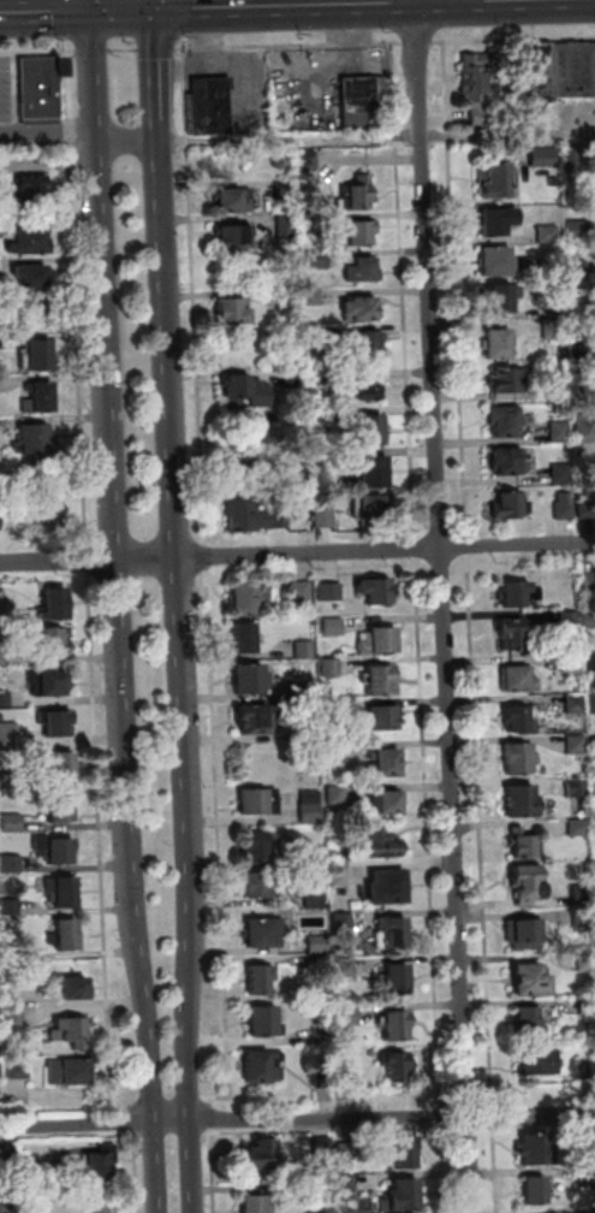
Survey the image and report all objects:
road: (463, 0)
road: (484, 0)
road: (440, 1)
road: (287, 2)
road: (156, 4)
road: (212, 4)
road: (94, 5)
road: (286, 5)
road: (31, 6)
traffic signals: (200, 7)
road: (125, 10)
road: (47, 12)
traffic signals: (55, 12)
road: (188, 17)
road: (66, 18)
road: (516, 40)
road: (421, 42)
road: (400, 43)
road: (159, 47)
road: (126, 48)
road: (95, 49)
road: (38, 51)
traffic signals: (159, 59)
road: (159, 61)
building: (575, 70)
building: (539, 72)
road: (94, 76)
building: (478, 82)
building: (42, 88)
parking lot: (6, 90)
building: (368, 102)
building: (212, 105)
road: (160, 128)
road: (48, 130)
road: (377, 136)
road: (127, 140)
road: (48, 142)
building: (545, 156)
building: (575, 158)
building: (311, 159)
building: (280, 162)
building: (499, 181)
building: (555, 181)
road: (400, 184)
building: (30, 189)
building: (286, 189)
building: (358, 193)
building: (234, 199)
building: (499, 218)
building: (311, 220)
building: (287, 225)
building: (581, 230)
building: (358, 232)
building: (549, 232)
building: (236, 235)
building: (31, 238)
building: (320, 259)
building: (499, 260)
building: (363, 268)
building: (551, 268)
building: (579, 268)
building: (32, 273)
road: (195, 288)
road: (457, 290)
road: (77, 291)
building: (314, 295)
building: (504, 296)
building: (291, 297)
building: (362, 307)
building: (232, 310)
building: (558, 310)
building: (555, 329)
building: (316, 335)
building: (368, 341)
building: (499, 342)
building: (42, 353)
building: (319, 374)
building: (294, 377)
building: (510, 378)
building: (581, 385)
building: (365, 387)
building: (246, 390)
building: (561, 390)
building: (42, 397)
building: (506, 419)
building: (585, 427)
building: (371, 428)
building: (561, 431)
building: (37, 438)
building: (325, 460)
building: (511, 460)
building: (243, 469)
building: (375, 471)
building: (564, 474)
building: (297, 483)
building: (373, 504)
building: (512, 505)
building: (566, 505)
building: (588, 508)
building: (49, 513)
building: (254, 515)
building: (325, 516)
building: (1, 521)
road: (469, 545)
road: (417, 549)
road: (297, 552)
road: (208, 556)
road: (90, 560)
building: (590, 580)
building: (376, 588)
building: (302, 591)
building: (331, 591)
building: (516, 593)
building: (245, 598)
building: (2, 599)
building: (55, 603)
road: (445, 608)
building: (571, 619)
building: (589, 619)
building: (335, 626)
building: (512, 632)
building: (245, 637)
building: (379, 639)
building: (52, 640)
building: (305, 650)
building: (2, 652)
building: (591, 661)
building: (573, 662)
building: (332, 667)
road: (180, 675)
road: (121, 677)
building: (520, 677)
building: (249, 679)
building: (382, 680)
building: (50, 682)
building: (308, 691)
building: (5, 699)
building: (594, 702)
building: (576, 704)
building: (334, 711)
building: (383, 716)
building: (2, 717)
building: (255, 717)
building: (518, 717)
building: (56, 722)
building: (309, 729)
building: (10, 735)
building: (578, 744)
building: (337, 750)
building: (520, 757)
building: (388, 762)
building: (60, 768)
building: (7, 781)
building: (578, 786)
building: (593, 786)
building: (338, 793)
building: (523, 800)
building: (255, 801)
building: (386, 801)
building: (579, 801)
building: (311, 806)
building: (60, 809)
building: (13, 823)
building: (579, 827)
road: (482, 830)
road: (429, 833)
road: (103, 842)
building: (526, 844)
building: (254, 845)
building: (383, 845)
road: (221, 846)
building: (56, 848)
building: (316, 854)
building: (13, 864)
building: (340, 871)
building: (529, 880)
building: (258, 883)
building: (388, 887)
building: (65, 890)
building: (583, 894)
building: (316, 899)
building: (525, 901)
building: (12, 907)
building: (584, 918)
building: (345, 922)
building: (266, 933)
building: (393, 933)
building: (525, 933)
building: (66, 935)
building: (319, 945)
building: (587, 961)
building: (347, 966)
building: (261, 978)
building: (531, 978)
building: (397, 980)
building: (76, 988)
building: (588, 1005)
building: (351, 1014)
building: (17, 1018)
building: (264, 1020)
building: (530, 1022)
building: (398, 1025)
building: (72, 1029)
building: (323, 1035)
building: (0, 1048)
building: (540, 1061)
building: (398, 1065)
building: (258, 1066)
building: (20, 1067)
building: (588, 1069)
building: (1, 1070)
building: (71, 1072)
building: (350, 1077)
building: (326, 1078)
building: (537, 1113)
road: (495, 1114)
road: (212, 1116)
road: (445, 1118)
road: (126, 1120)
road: (297, 1120)
road: (69, 1137)
building: (323, 1144)
building: (537, 1149)
building: (347, 1152)
building: (590, 1153)
building: (260, 1155)
building: (406, 1155)
building: (101, 1162)
building: (32, 1164)
building: (6, 1165)
road: (499, 1167)
road: (138, 1171)
road: (215, 1171)
road: (446, 1171)
building: (589, 1178)
building: (349, 1184)
building: (537, 1190)
building: (305, 1193)
building: (403, 1196)
building: (256, 1203)
building: (96, 1206)
building: (10, 1209)

